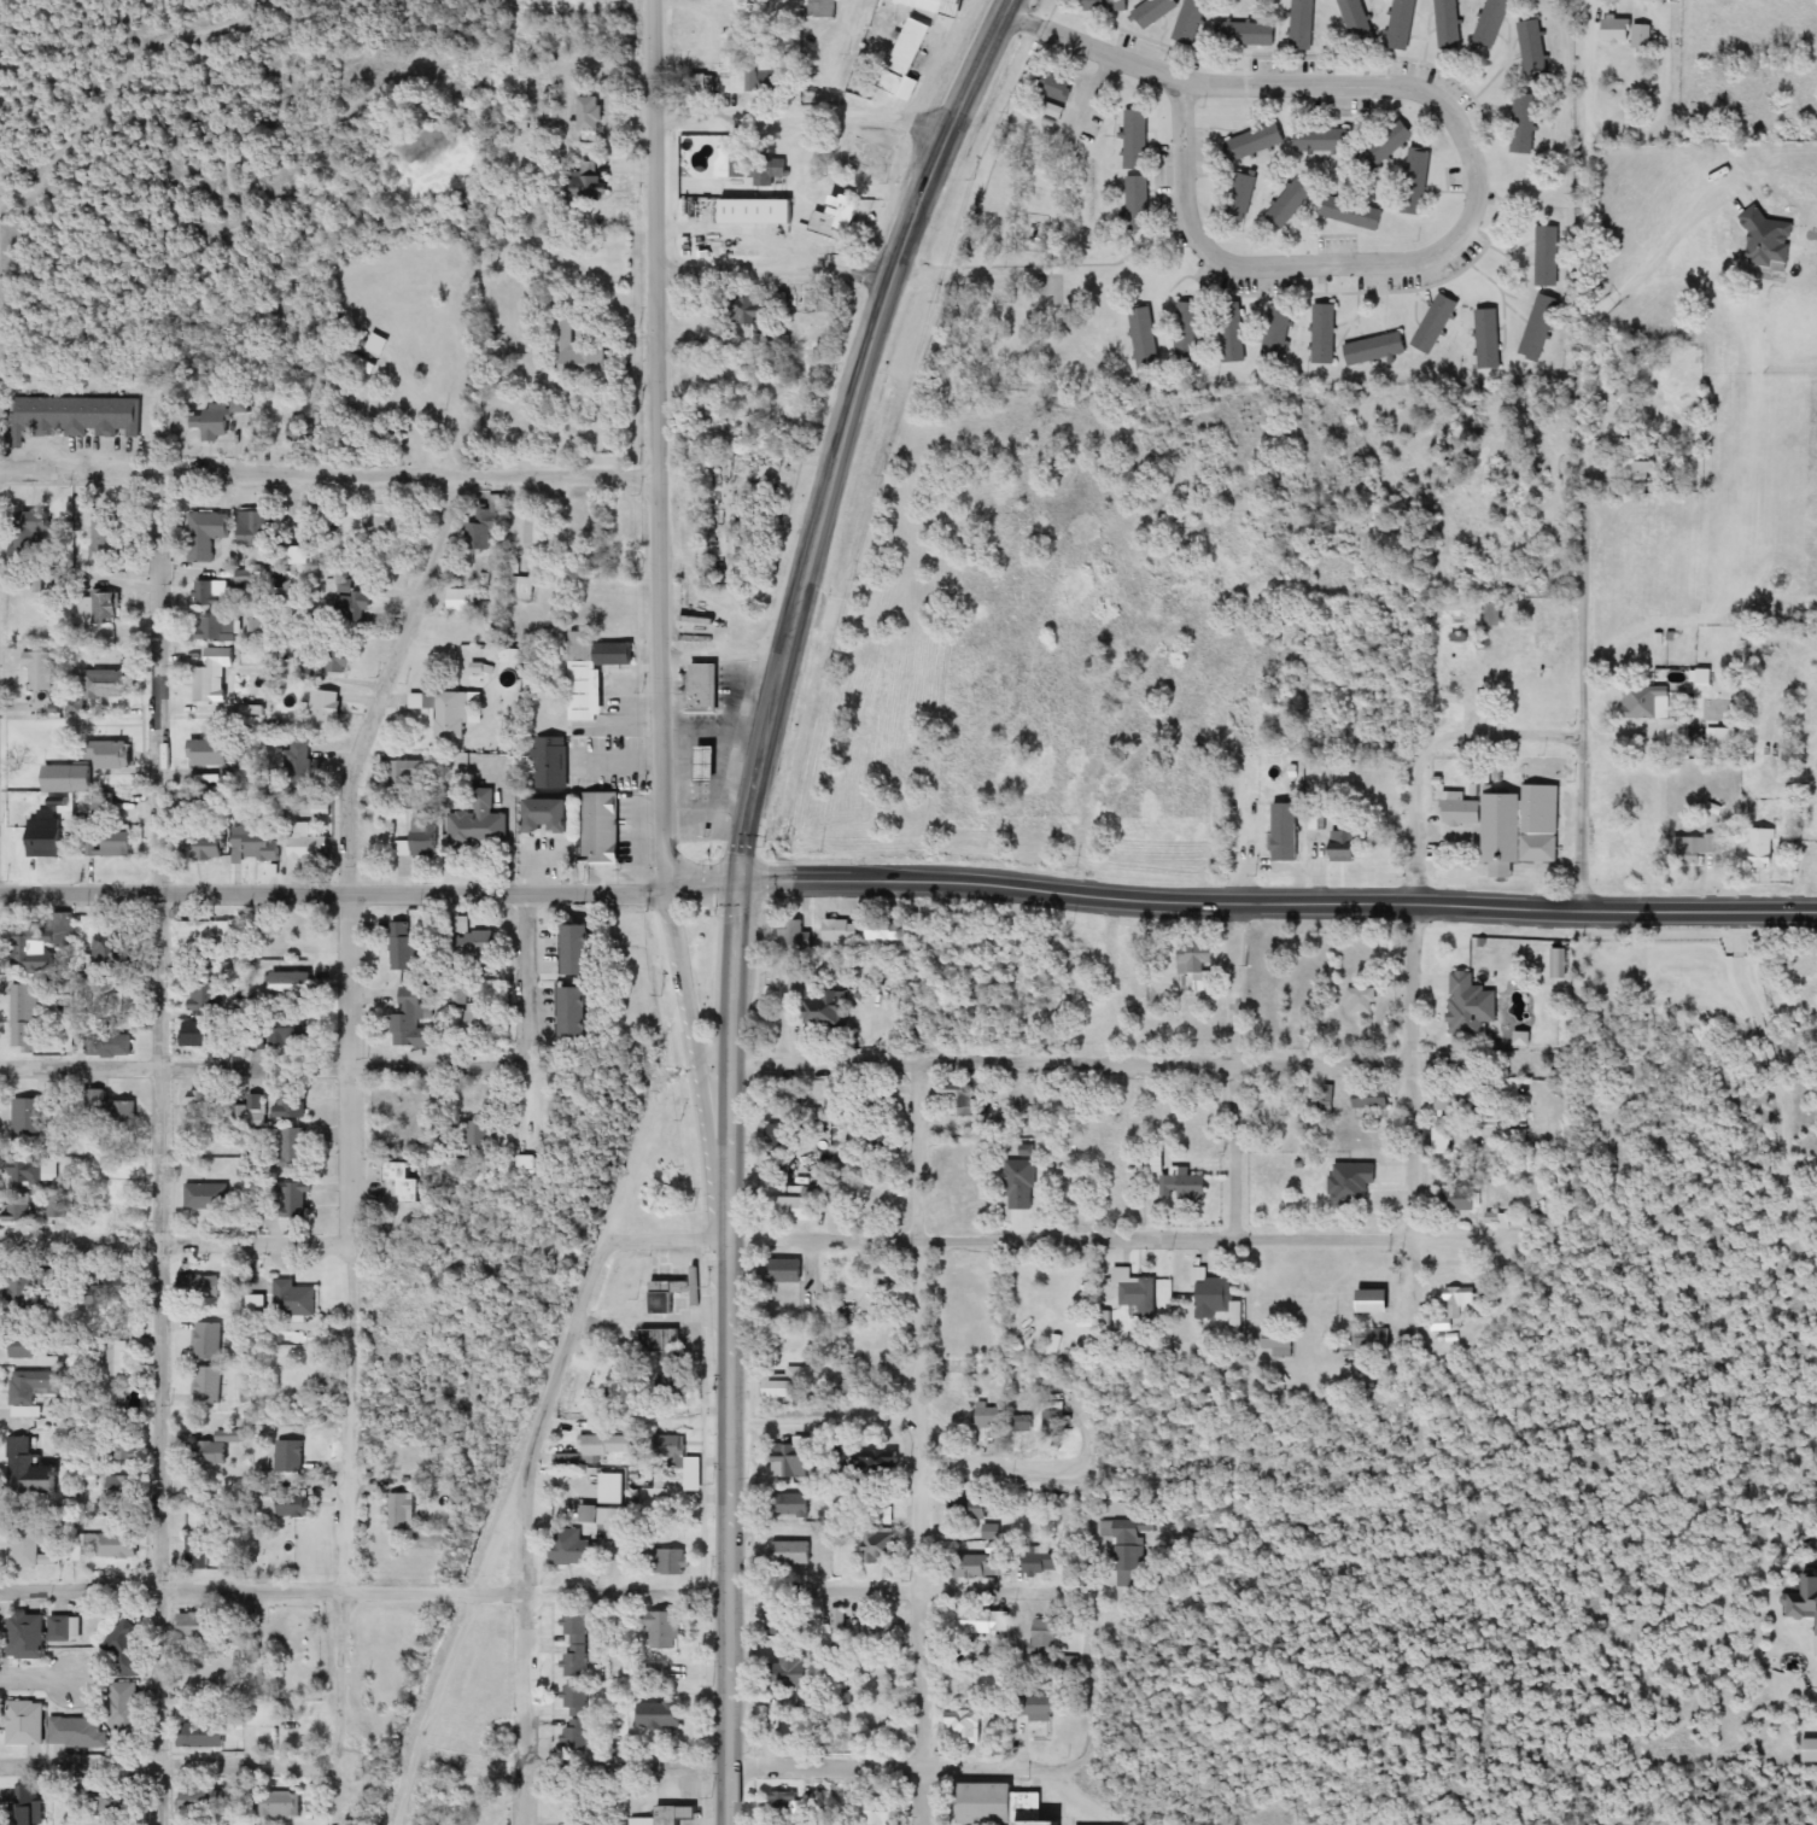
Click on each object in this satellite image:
building: (928, 5)
building: (1106, 6)
building: (822, 10)
road: (577, 11)
building: (1155, 12)
building: (1191, 22)
building: (1359, 22)
building: (1491, 23)
building: (1402, 24)
building: (1449, 24)
building: (1302, 25)
building: (1629, 30)
building: (1244, 34)
road: (1094, 42)
building: (1533, 51)
building: (908, 60)
building: (735, 63)
building: (776, 80)
road: (807, 112)
building: (590, 115)
building: (1524, 125)
building: (1321, 140)
building: (1137, 141)
building: (1252, 144)
building: (1386, 144)
building: (737, 164)
building: (769, 166)
building: (1418, 177)
building: (591, 187)
building: (1291, 201)
building: (1138, 204)
road: (4, 207)
building: (1354, 210)
road: (27, 213)
building: (839, 223)
road: (1404, 255)
building: (1547, 257)
road: (771, 268)
building: (750, 310)
building: (1436, 324)
building: (1540, 327)
building: (1185, 333)
building: (1278, 334)
building: (1326, 335)
building: (1144, 338)
building: (1489, 339)
building: (1233, 343)
building: (378, 344)
building: (1377, 350)
building: (577, 359)
road: (520, 378)
building: (243, 404)
building: (76, 416)
building: (215, 422)
road: (845, 432)
road: (653, 444)
road: (460, 454)
road: (1584, 456)
road: (326, 472)
railway: (875, 472)
building: (35, 525)
building: (483, 525)
building: (539, 533)
building: (205, 534)
building: (101, 537)
building: (258, 537)
building: (524, 585)
building: (218, 593)
building: (462, 601)
building: (354, 602)
building: (100, 607)
building: (218, 630)
building: (340, 656)
building: (515, 656)
building: (41, 671)
building: (592, 673)
building: (212, 674)
building: (109, 685)
building: (705, 689)
building: (1461, 689)
building: (325, 710)
building: (445, 713)
building: (1655, 713)
road: (1509, 727)
building: (1723, 739)
building: (214, 749)
building: (298, 762)
building: (550, 764)
building: (711, 766)
building: (87, 768)
building: (408, 772)
building: (1291, 799)
building: (1461, 813)
building: (550, 818)
building: (1803, 821)
building: (480, 824)
building: (1523, 827)
building: (601, 829)
building: (46, 836)
building: (423, 838)
building: (111, 844)
building: (257, 846)
building: (306, 846)
building: (205, 849)
building: (1337, 849)
building: (1694, 849)
building: (1764, 849)
traffic signals: (741, 885)
road: (370, 893)
road: (1278, 903)
building: (841, 930)
building: (883, 930)
building: (204, 936)
building: (796, 938)
building: (404, 946)
building: (479, 946)
building: (109, 950)
building: (31, 952)
building: (585, 952)
building: (1196, 969)
road: (1106, 981)
building: (293, 984)
building: (203, 995)
building: (1362, 1000)
building: (121, 1001)
building: (1471, 1005)
building: (826, 1008)
building: (582, 1014)
building: (37, 1017)
building: (484, 1018)
building: (413, 1020)
road: (527, 1020)
building: (290, 1031)
building: (198, 1034)
building: (111, 1045)
road: (1416, 1045)
road: (696, 1064)
road: (1073, 1064)
road: (263, 1069)
road: (1232, 1070)
building: (1374, 1096)
building: (791, 1098)
building: (957, 1099)
building: (1459, 1100)
building: (292, 1101)
building: (258, 1102)
building: (206, 1104)
building: (116, 1112)
building: (236, 1112)
building: (30, 1118)
road: (349, 1125)
building: (477, 1131)
building: (787, 1135)
building: (1519, 1139)
building: (872, 1140)
building: (1441, 1140)
road: (158, 1143)
building: (293, 1147)
building: (531, 1162)
building: (34, 1172)
building: (410, 1181)
building: (1021, 1185)
building: (1186, 1187)
building: (292, 1194)
building: (206, 1195)
building: (1465, 1199)
building: (21, 1210)
building: (267, 1210)
building: (64, 1212)
building: (796, 1213)
road: (1100, 1238)
road: (173, 1244)
building: (789, 1271)
building: (884, 1277)
building: (200, 1286)
building: (122, 1287)
building: (1138, 1291)
building: (18, 1292)
building: (88, 1293)
building: (1213, 1294)
building: (296, 1298)
building: (1378, 1302)
building: (671, 1303)
building: (258, 1305)
building: (1461, 1306)
building: (1378, 1338)
building: (662, 1340)
building: (205, 1341)
building: (1280, 1343)
building: (37, 1347)
road: (729, 1355)
building: (117, 1357)
railway: (554, 1384)
building: (206, 1385)
building: (677, 1385)
building: (784, 1387)
building: (36, 1390)
building: (958, 1411)
building: (989, 1416)
road: (824, 1421)
building: (1053, 1422)
building: (1023, 1423)
road: (918, 1444)
building: (217, 1447)
building: (602, 1447)
building: (124, 1450)
building: (291, 1456)
building: (677, 1456)
building: (886, 1458)
building: (791, 1462)
road: (1035, 1469)
building: (34, 1470)
road: (516, 1475)
building: (119, 1487)
building: (613, 1488)
building: (796, 1505)
building: (291, 1507)
building: (974, 1507)
building: (881, 1510)
building: (404, 1511)
building: (609, 1520)
building: (992, 1531)
building: (117, 1544)
building: (881, 1546)
building: (1126, 1548)
building: (572, 1549)
building: (34, 1551)
building: (199, 1551)
building: (793, 1552)
building: (1040, 1560)
building: (670, 1562)
building: (977, 1566)
road: (905, 1590)
road: (363, 1591)
building: (1800, 1602)
building: (972, 1620)
building: (784, 1622)
building: (836, 1622)
building: (199, 1626)
building: (664, 1630)
building: (877, 1632)
building: (37, 1633)
building: (1042, 1637)
building: (577, 1644)
road: (522, 1645)
building: (125, 1649)
building: (253, 1653)
building: (791, 1672)
road: (35, 1679)
road: (1091, 1683)
building: (574, 1700)
building: (1042, 1709)
building: (261, 1715)
building: (660, 1715)
building: (99, 1721)
building: (25, 1722)
building: (966, 1726)
building: (204, 1735)
building: (574, 1736)
road: (170, 1765)
road: (625, 1767)
road: (899, 1767)
building: (205, 1800)
building: (116, 1801)
building: (29, 1804)
building: (281, 1804)
building: (988, 1804)
building: (783, 1807)
building: (876, 1813)
building: (668, 1817)
building: (1047, 1823)

